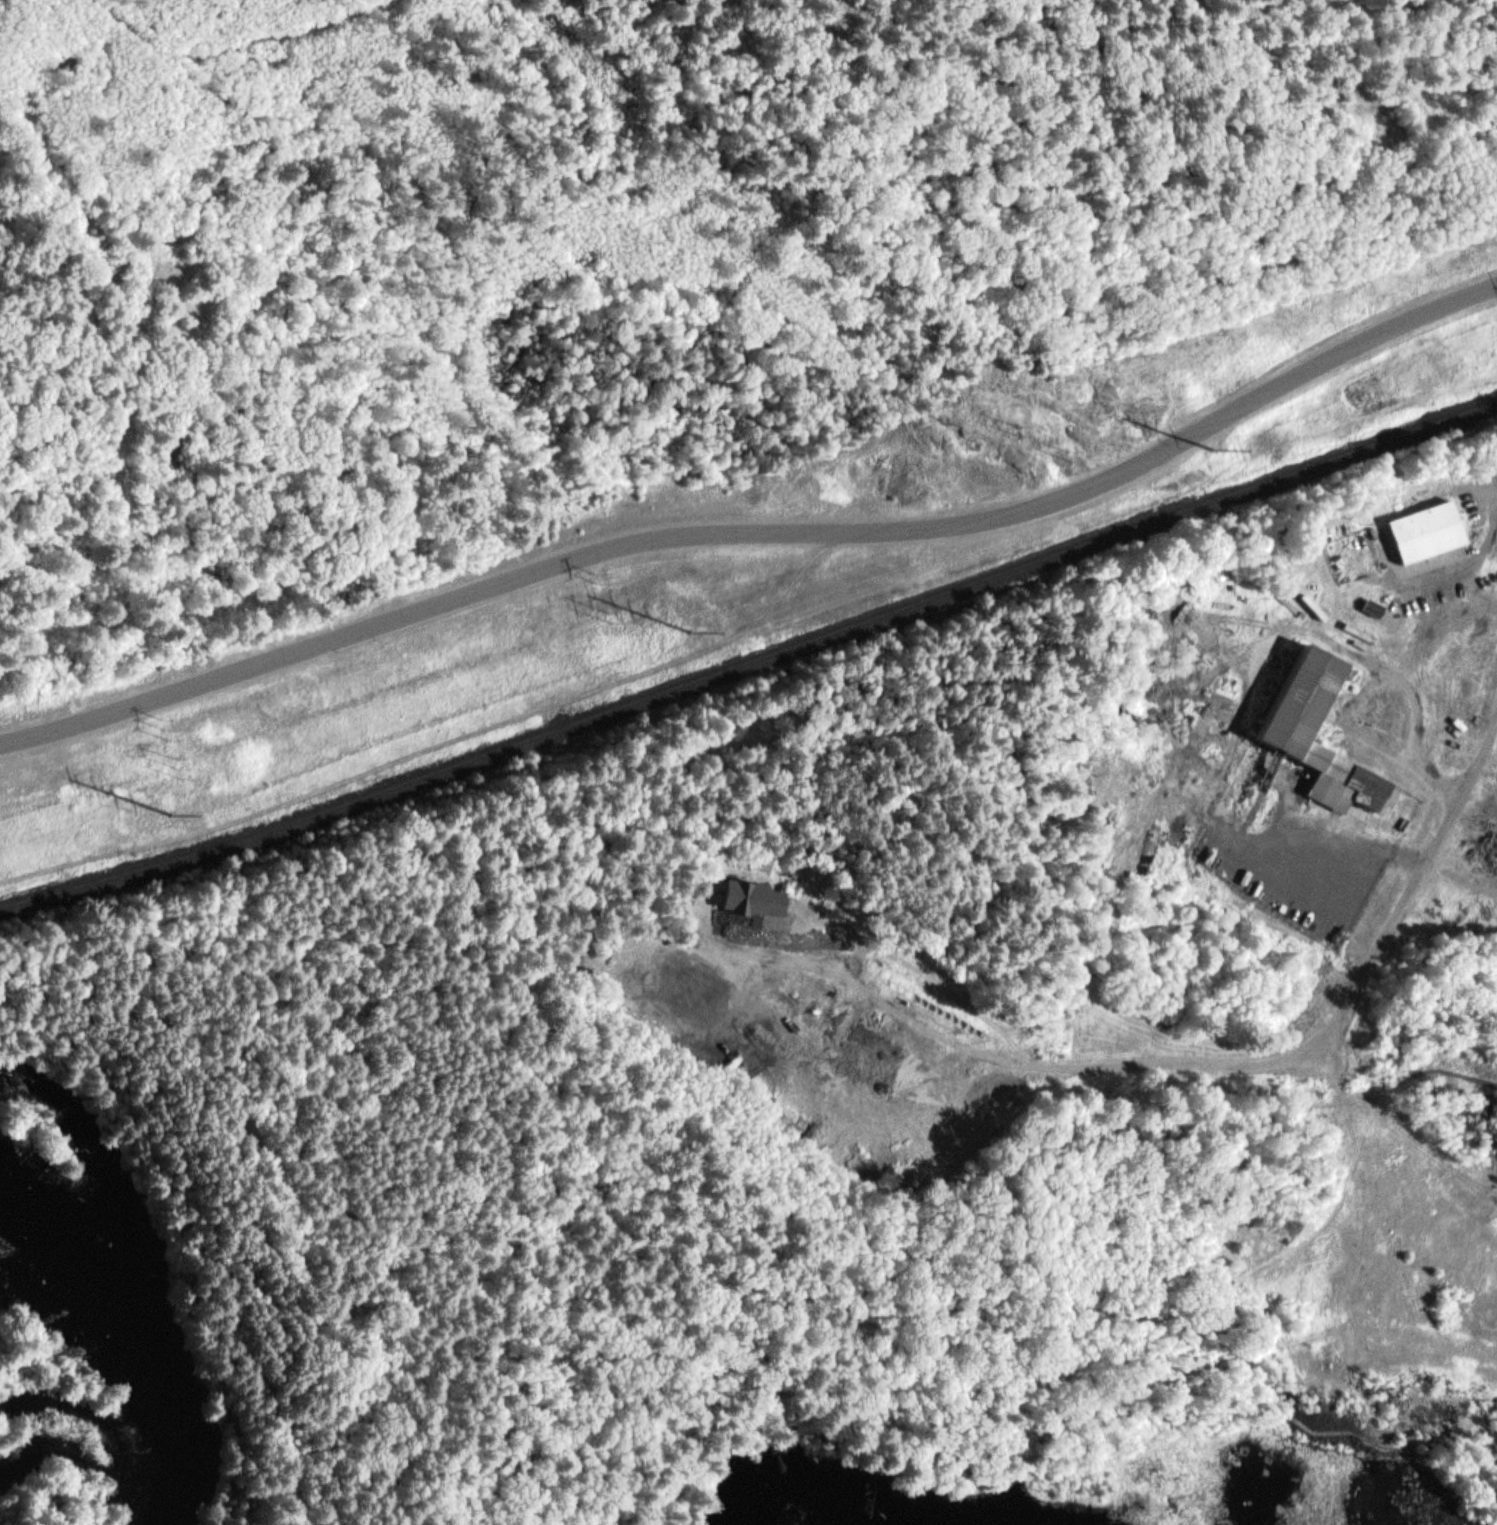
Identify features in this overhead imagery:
power tower: (1022, 430)
power tower: (1218, 449)
power tower: (1074, 457)
building: (1419, 526)
road: (759, 529)
power tower: (601, 576)
building: (1367, 601)
power tower: (614, 613)
power tower: (698, 632)
railway: (751, 663)
building: (1287, 697)
power tower: (168, 728)
power tower: (185, 764)
power tower: (176, 812)
building: (754, 889)
road: (1264, 1057)
road: (1382, 1120)
road: (294, 1225)
road: (184, 1243)
road: (1119, 1309)
road: (1372, 1311)
road: (687, 1365)
road: (1181, 1369)
road: (780, 1388)
road: (585, 1429)
road: (1070, 1434)

